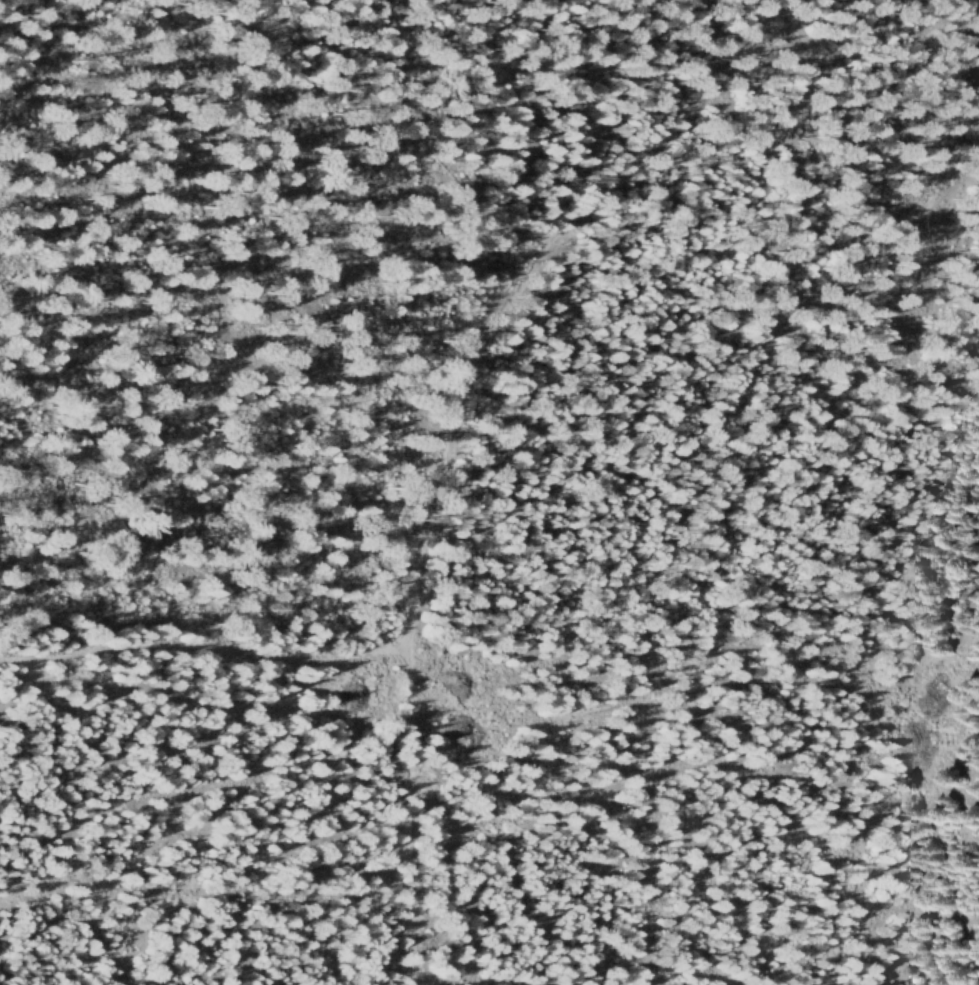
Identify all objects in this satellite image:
road: (406, 154)
road: (449, 434)
road: (206, 652)

